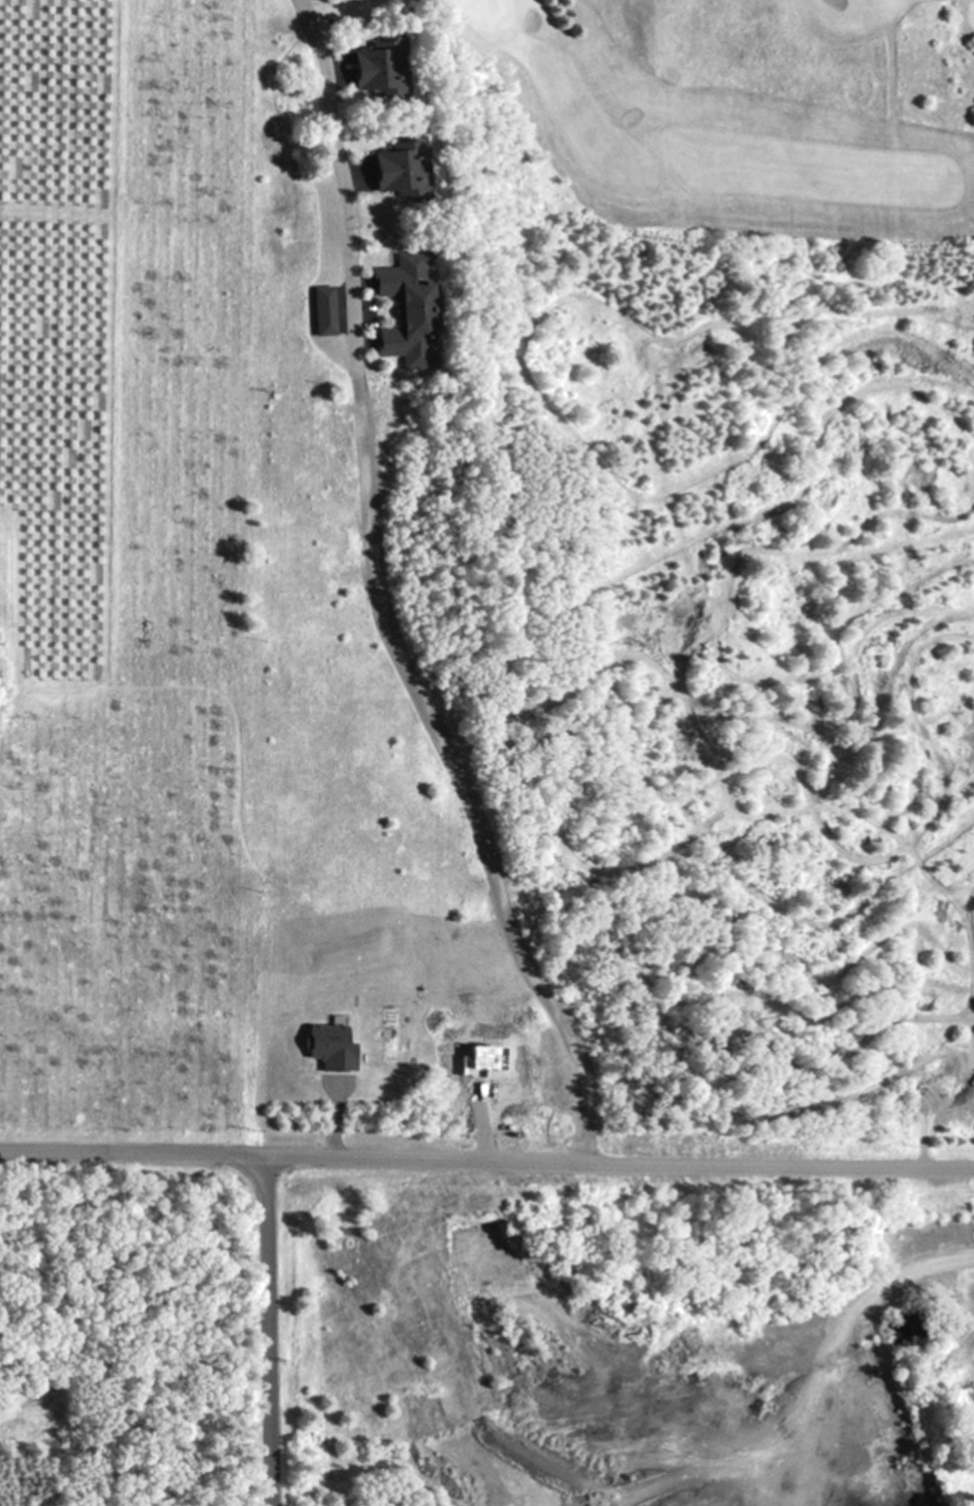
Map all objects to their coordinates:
building: (376, 67)
park: (738, 105)
building: (322, 310)
building: (405, 311)
road: (376, 602)
building: (329, 1044)
building: (491, 1056)
building: (473, 1070)
road: (486, 1164)
road: (270, 1333)
quarry: (622, 1338)

